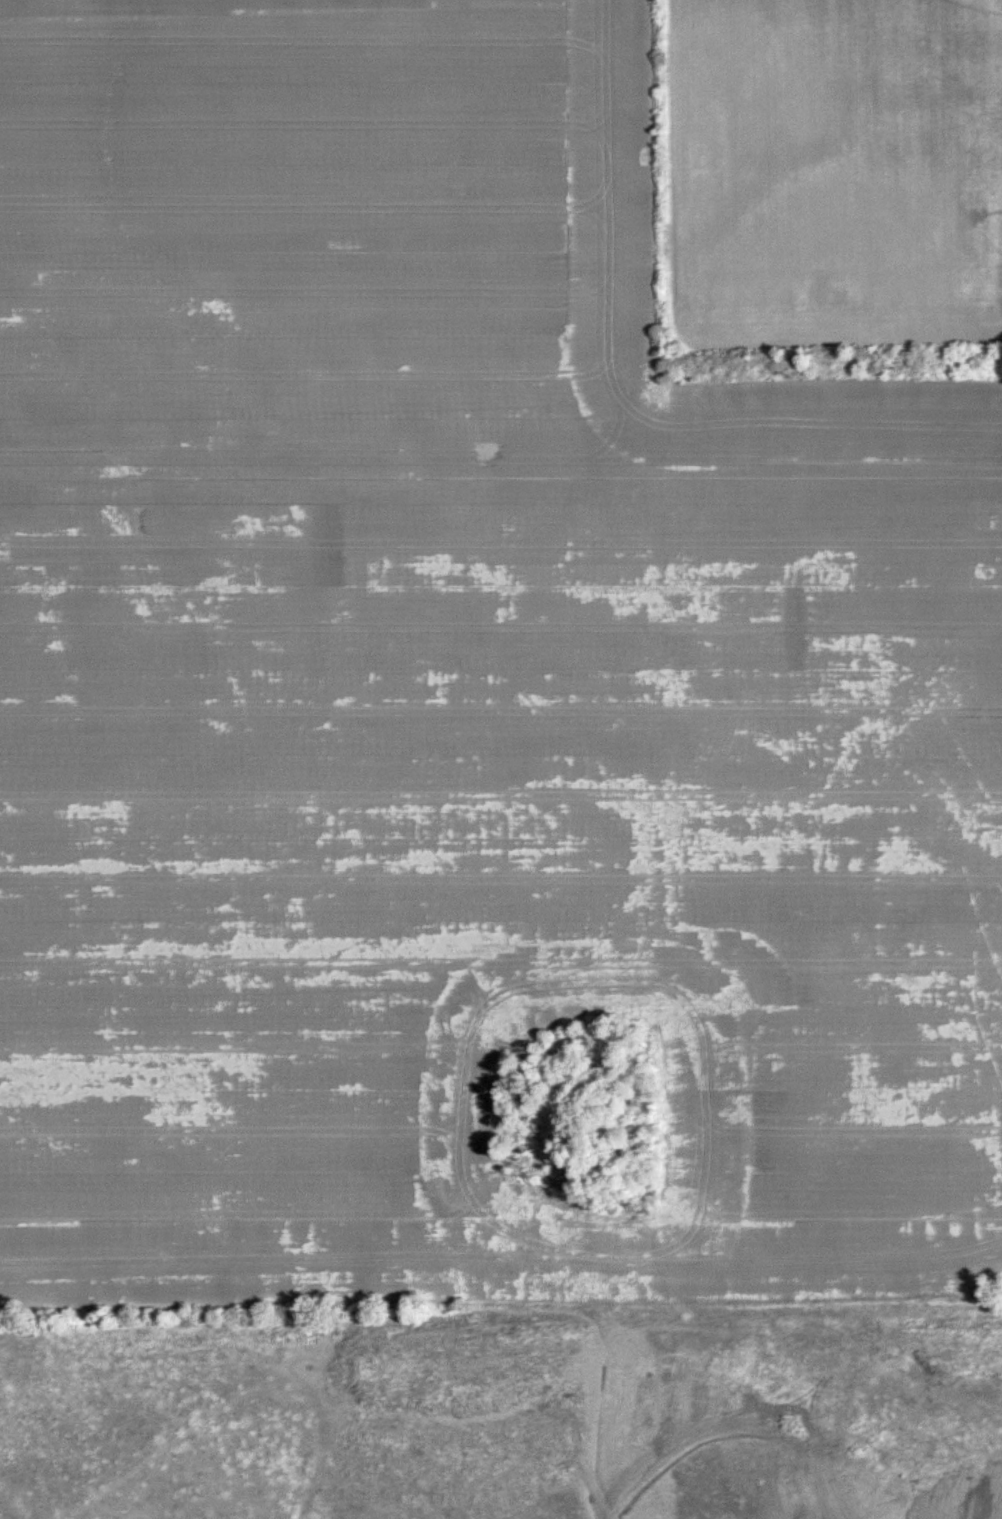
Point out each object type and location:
road: (783, 1295)

